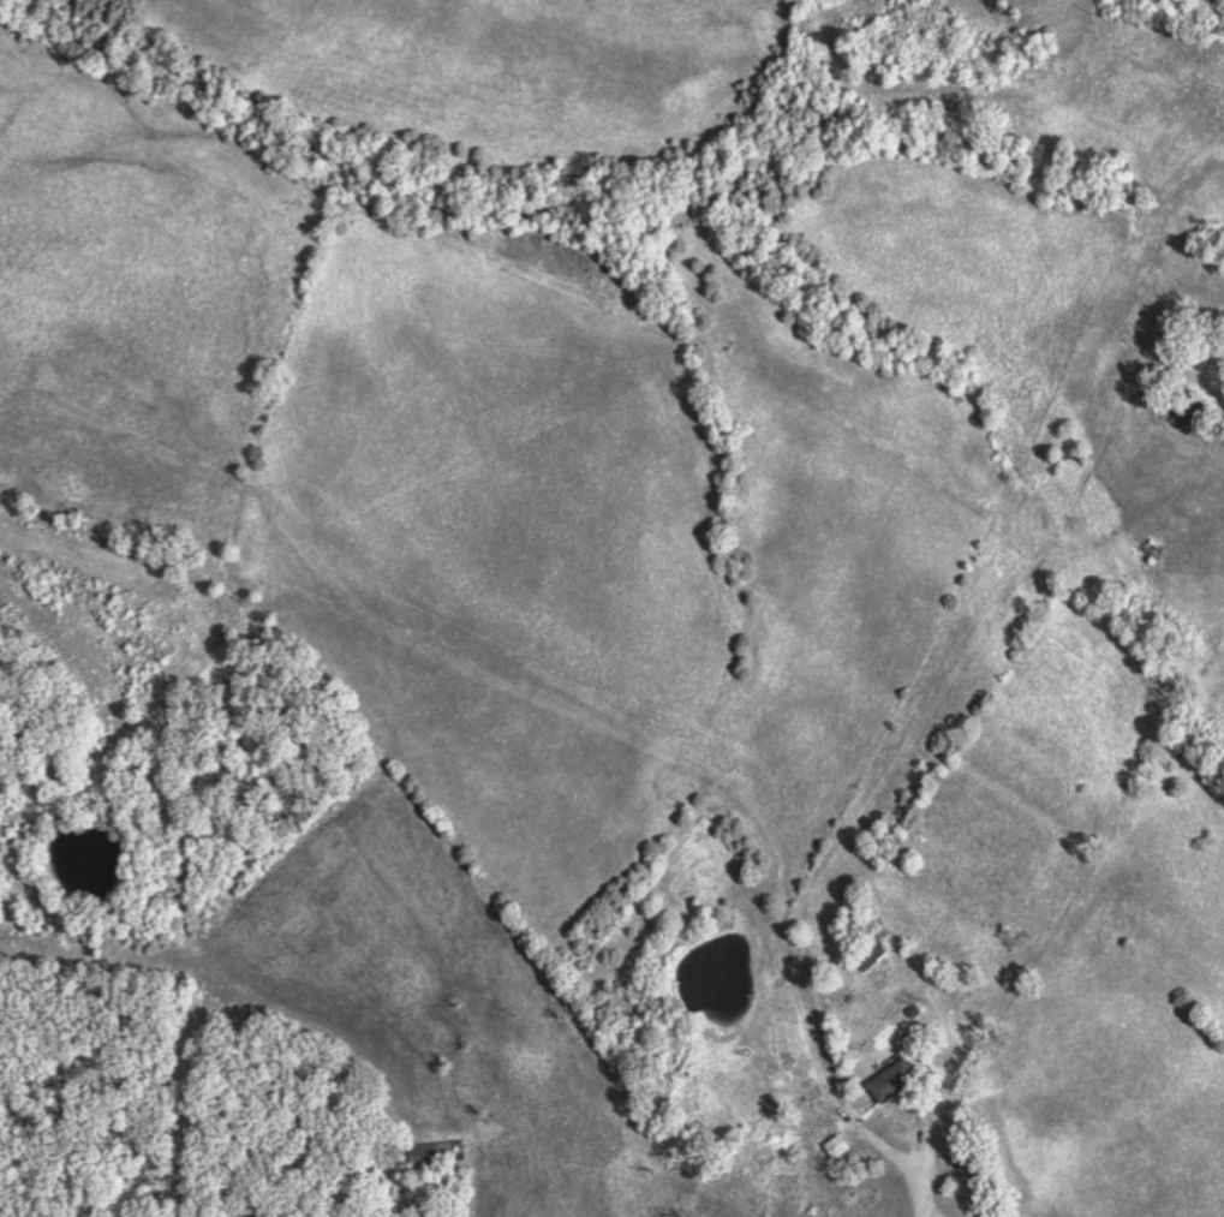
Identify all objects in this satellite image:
building: (897, 1080)
road: (914, 1187)

